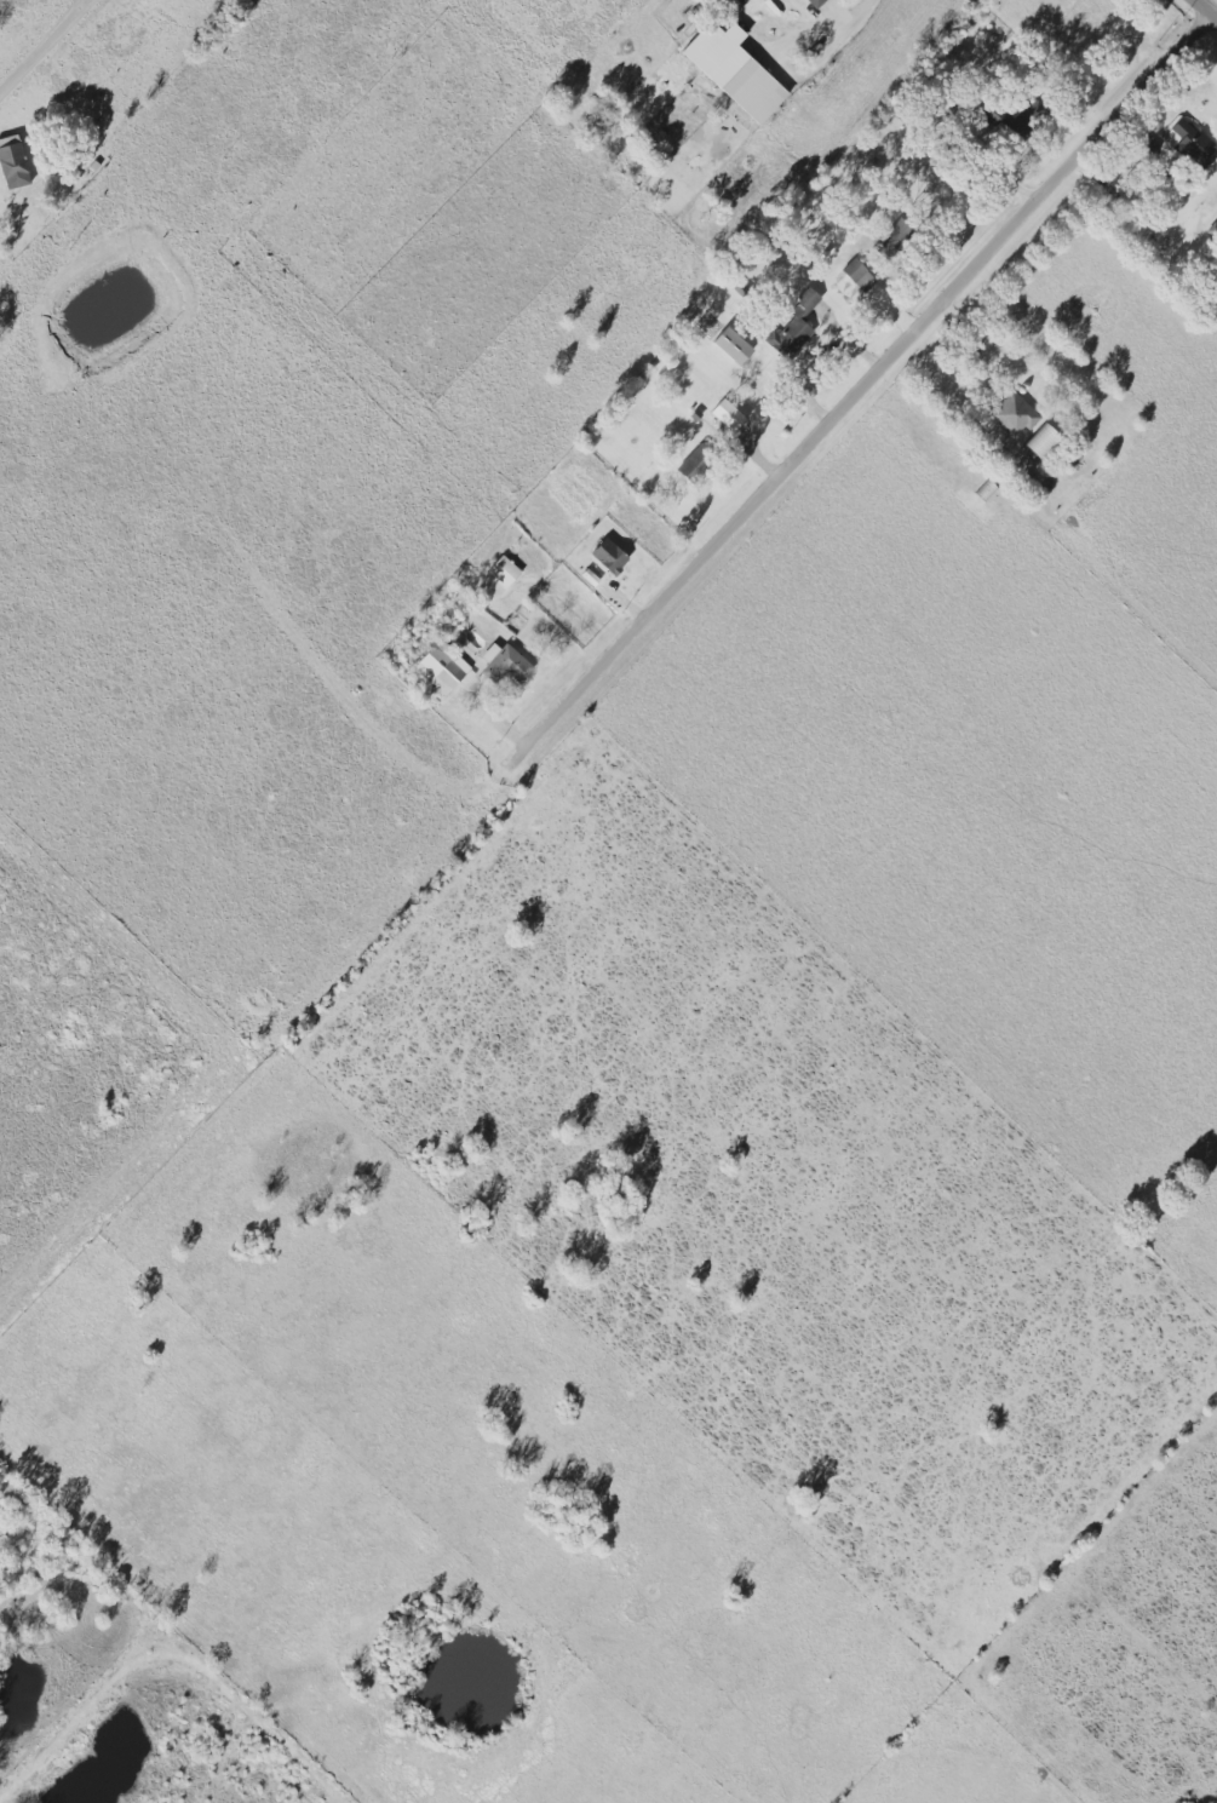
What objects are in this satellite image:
building: (816, 2)
road: (1209, 6)
road: (42, 44)
building: (735, 70)
building: (1192, 143)
building: (897, 235)
building: (859, 275)
building: (794, 326)
building: (733, 345)
road: (984, 361)
road: (866, 386)
building: (729, 414)
building: (1014, 414)
building: (1043, 441)
building: (695, 463)
building: (987, 490)
building: (610, 556)
building: (504, 570)
building: (504, 662)
building: (443, 667)

